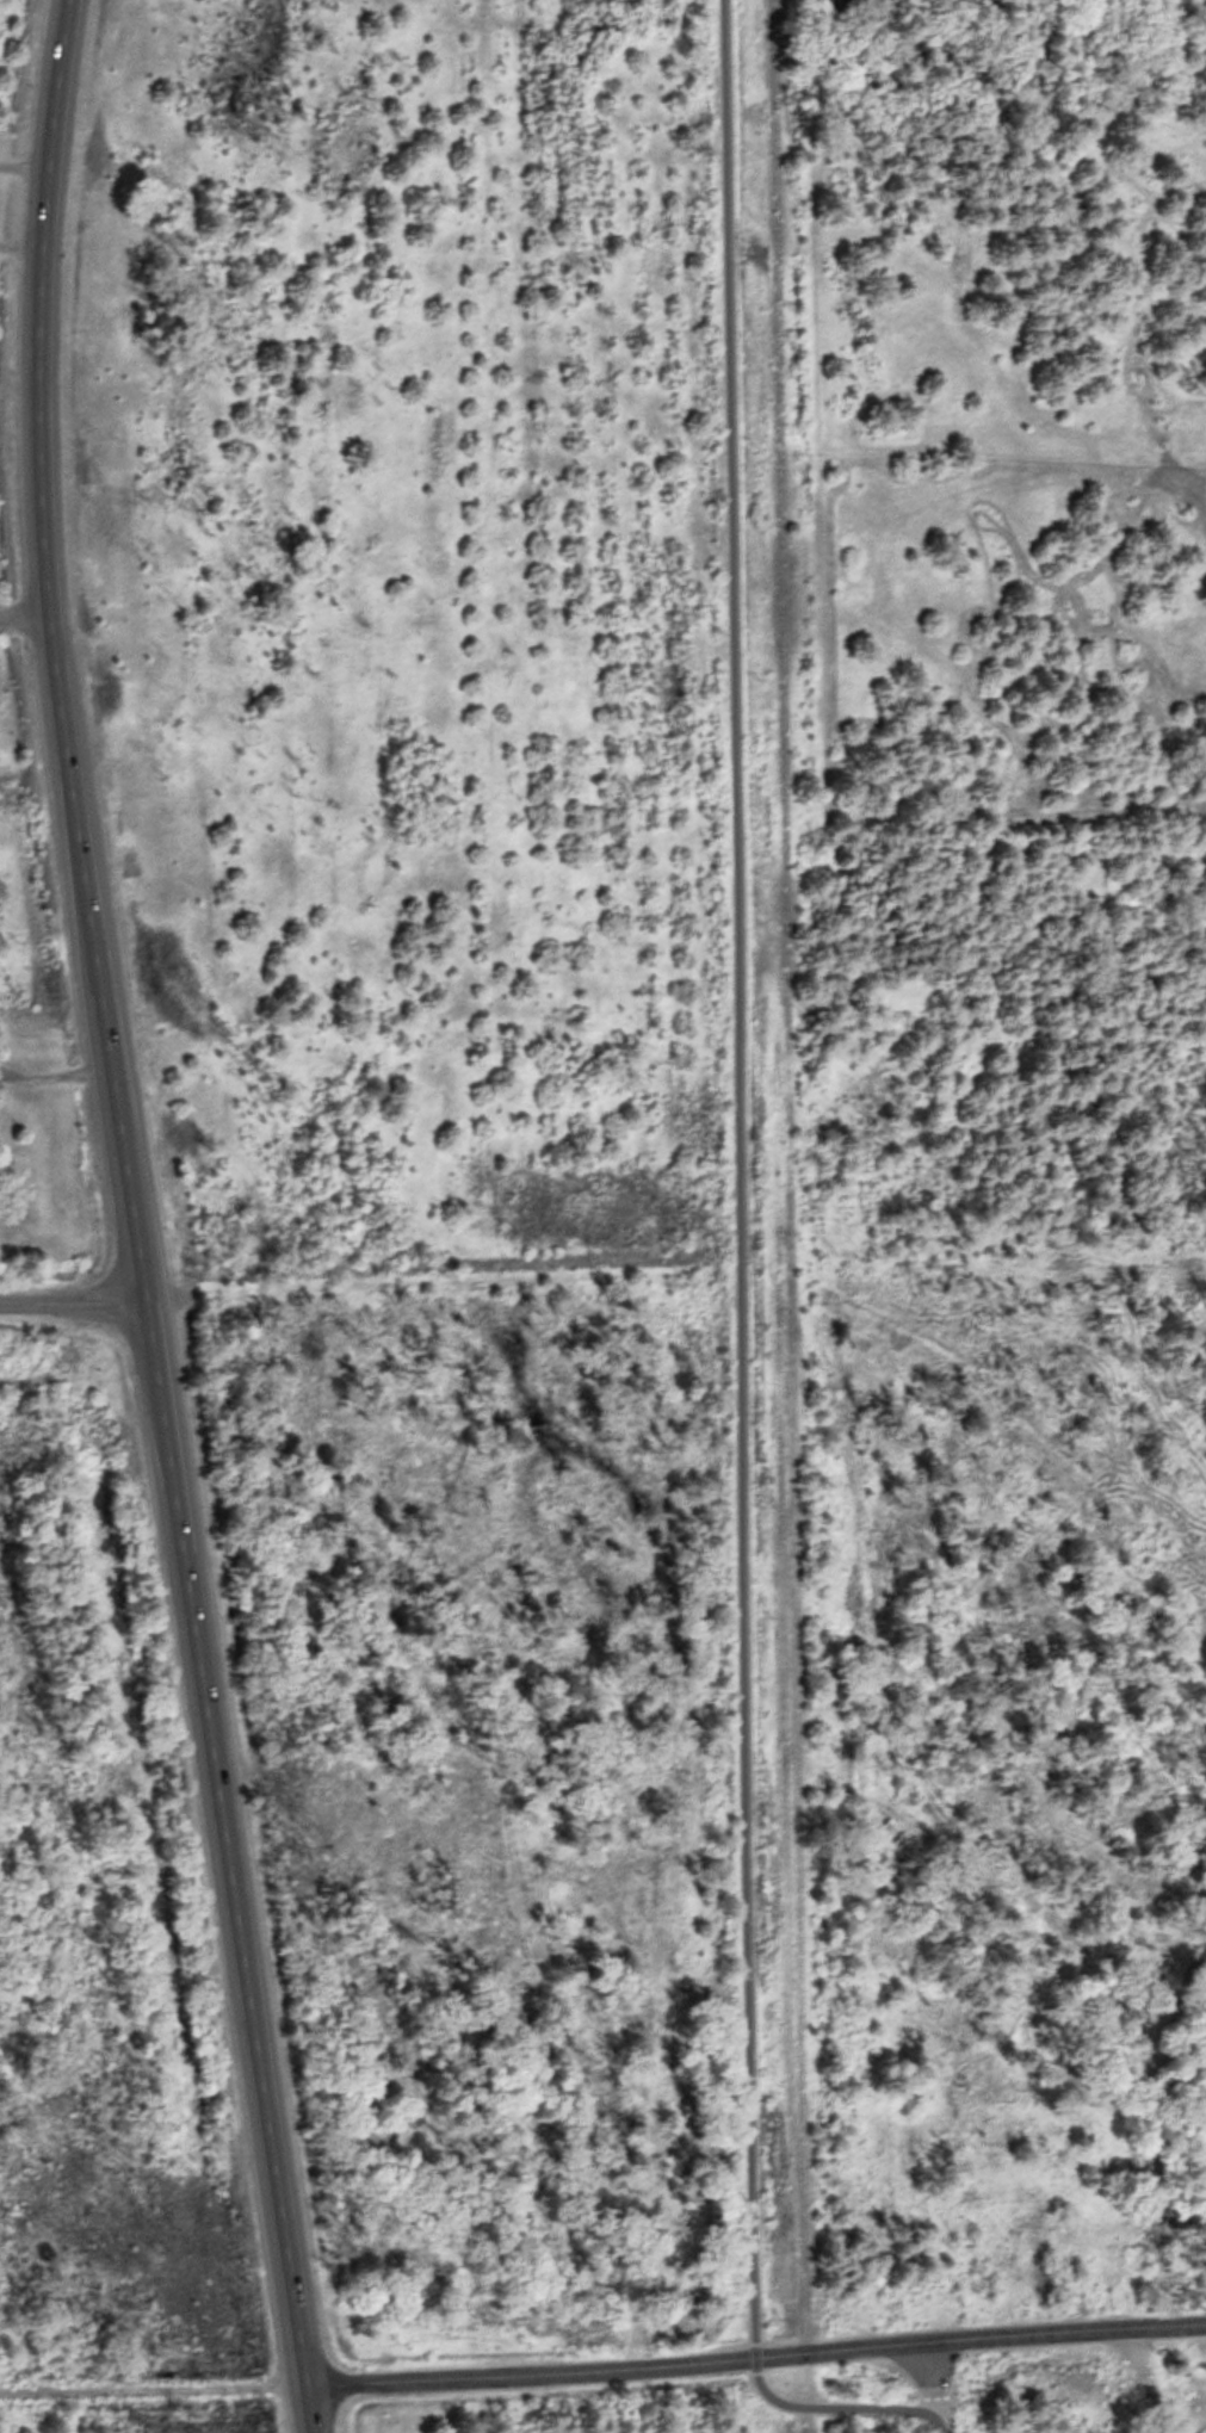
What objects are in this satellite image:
road: (55, 655)
road: (738, 1298)
road: (75, 1305)
road: (233, 1869)
road: (756, 2354)
road: (153, 2375)
road: (1130, 2381)

